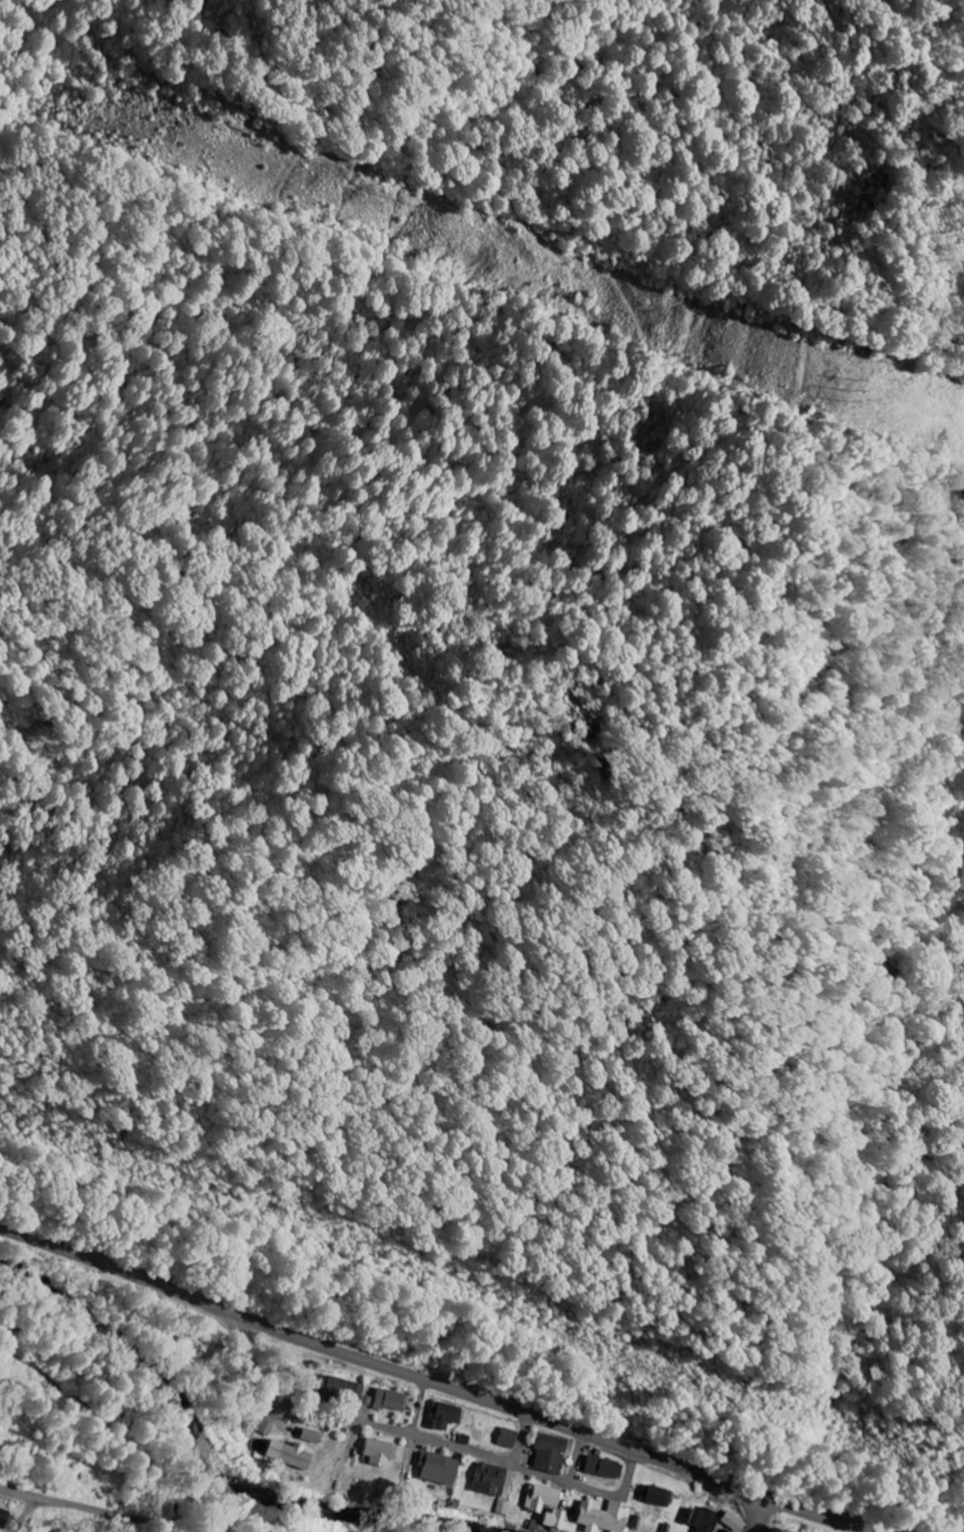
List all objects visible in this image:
road: (439, 1383)
building: (337, 1386)
building: (389, 1400)
road: (421, 1407)
building: (443, 1414)
building: (307, 1434)
road: (420, 1437)
building: (507, 1437)
road: (523, 1440)
building: (377, 1451)
building: (548, 1452)
building: (287, 1453)
road: (578, 1458)
building: (601, 1466)
building: (436, 1468)
building: (487, 1479)
building: (654, 1495)
building: (539, 1497)
building: (501, 1507)
road: (95, 1508)
road: (754, 1512)
building: (601, 1516)
building: (549, 1518)
building: (6, 1519)
building: (702, 1519)
building: (732, 1521)

